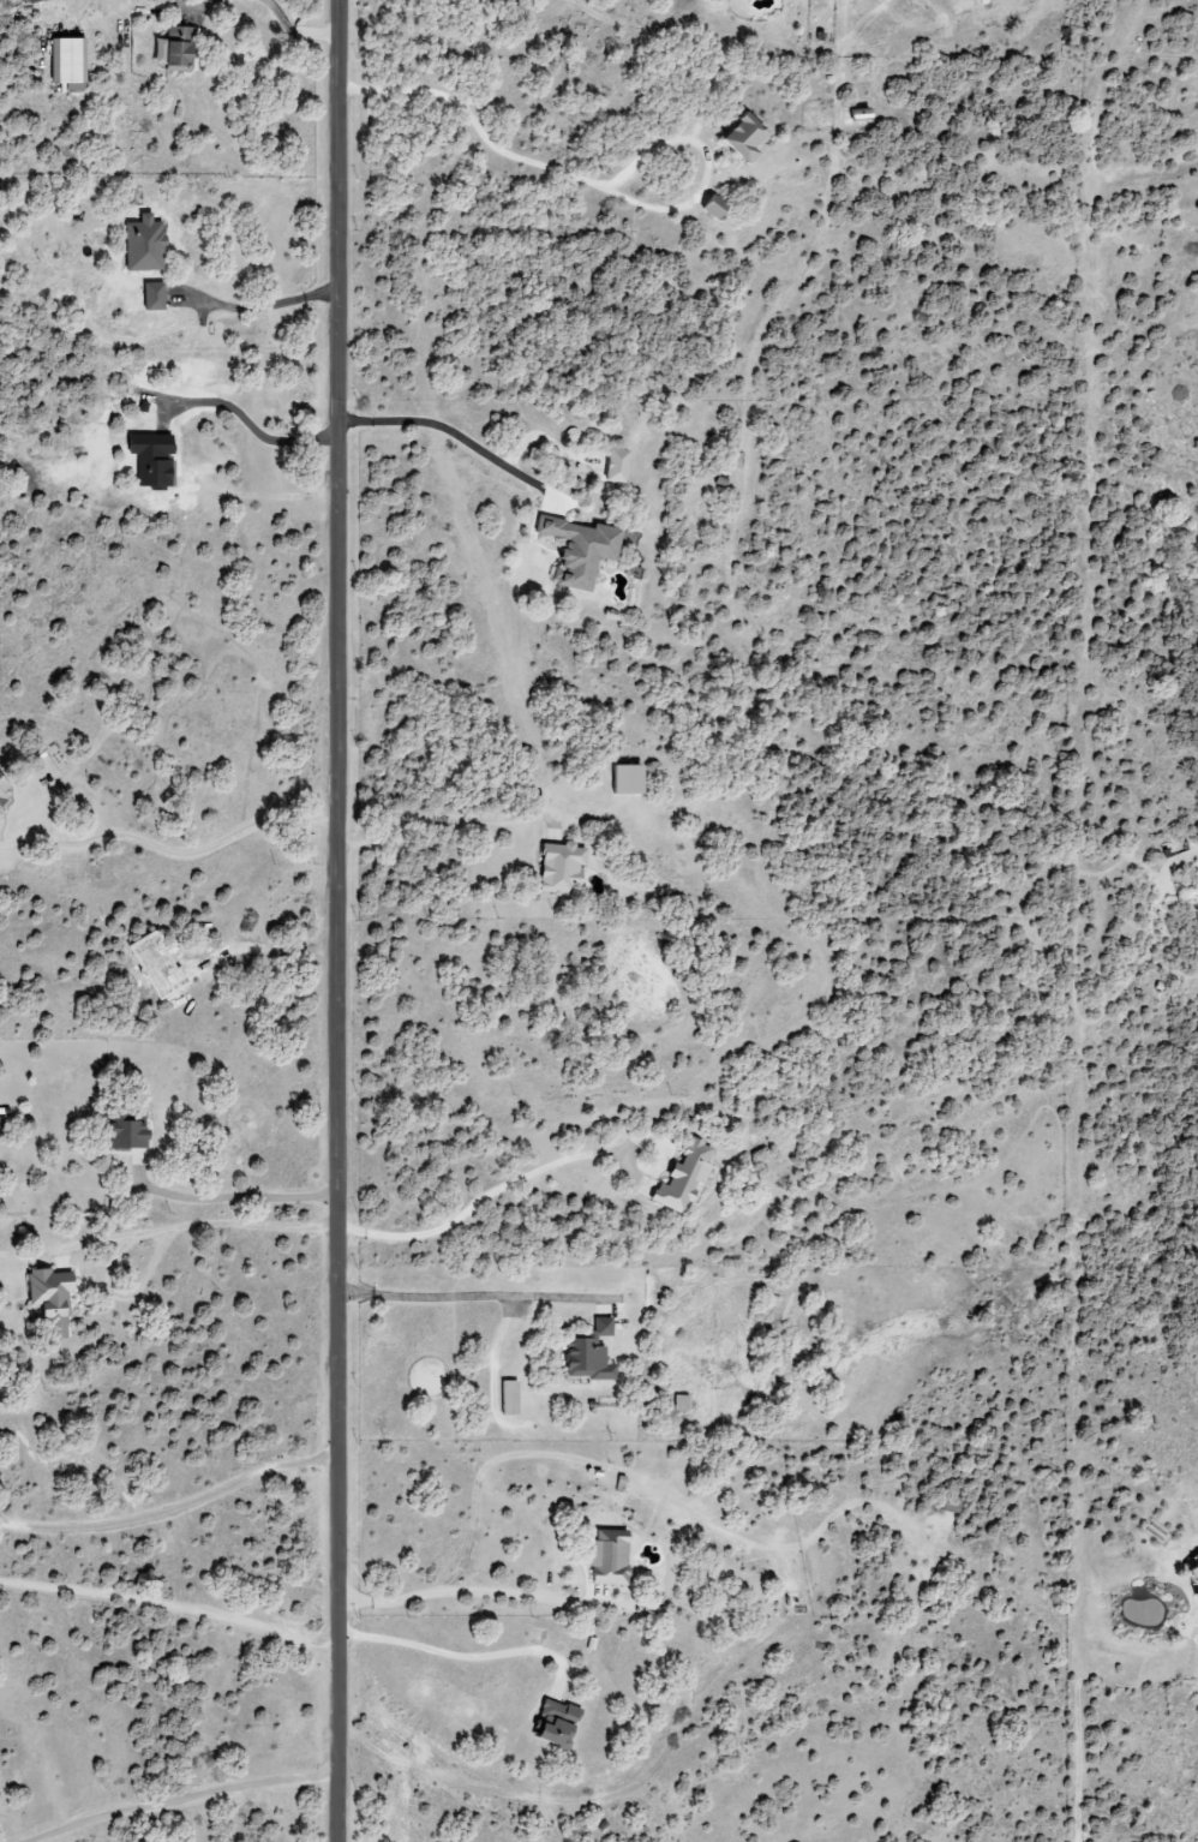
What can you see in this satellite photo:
building: (709, 0)
building: (37, 1)
building: (179, 47)
building: (71, 60)
building: (856, 114)
building: (737, 136)
road: (493, 149)
building: (148, 245)
building: (157, 297)
road: (253, 306)
road: (442, 431)
building: (156, 460)
building: (612, 465)
building: (576, 551)
building: (630, 778)
building: (5, 788)
road: (441, 821)
road: (170, 850)
building: (564, 867)
road: (337, 921)
building: (131, 1131)
building: (687, 1179)
road: (240, 1200)
road: (475, 1202)
road: (188, 1227)
road: (432, 1293)
building: (55, 1298)
building: (595, 1353)
building: (513, 1399)
building: (684, 1403)
road: (170, 1512)
building: (612, 1559)
building: (1191, 1580)
road: (465, 1593)
road: (169, 1601)
road: (460, 1651)
building: (559, 1723)
road: (173, 1794)

